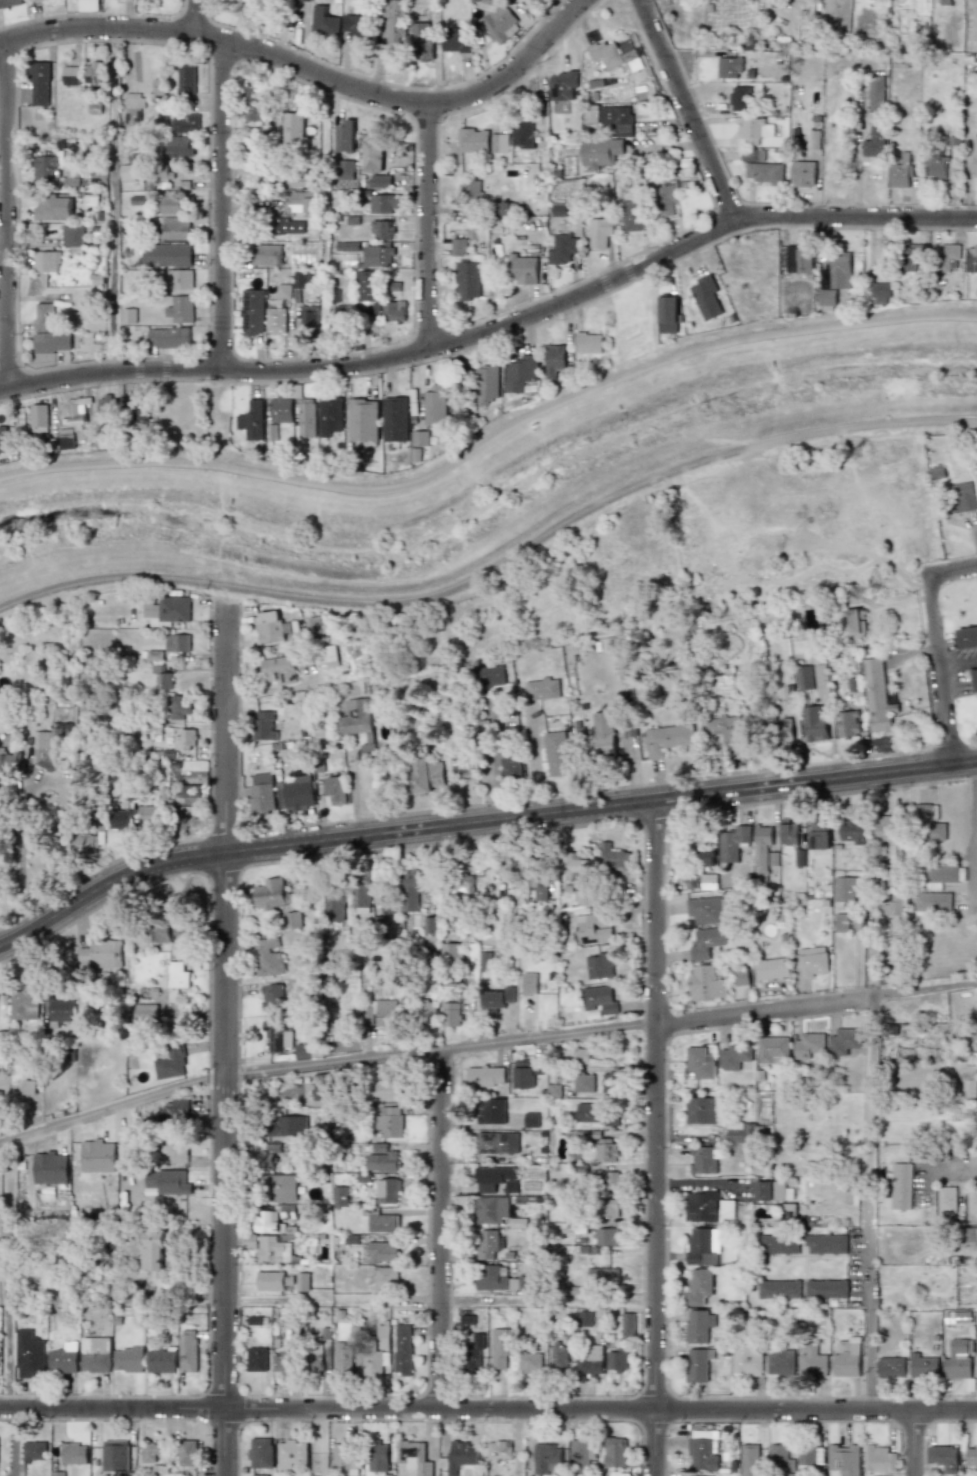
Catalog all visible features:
building: (29, 0)
building: (304, 0)
building: (9, 3)
road: (544, 6)
building: (323, 21)
building: (394, 23)
building: (498, 23)
building: (355, 27)
building: (455, 39)
building: (422, 42)
building: (613, 53)
road: (308, 55)
building: (729, 68)
building: (92, 73)
building: (71, 76)
building: (186, 80)
building: (39, 83)
building: (562, 86)
building: (875, 92)
building: (739, 98)
building: (253, 104)
road: (684, 112)
building: (133, 113)
building: (618, 119)
building: (185, 123)
building: (294, 129)
building: (754, 130)
building: (522, 133)
building: (345, 137)
building: (473, 140)
building: (874, 142)
building: (499, 143)
building: (179, 146)
building: (601, 152)
building: (752, 154)
building: (372, 155)
building: (974, 157)
building: (936, 166)
building: (46, 169)
building: (345, 170)
building: (765, 172)
building: (899, 173)
building: (803, 174)
building: (379, 180)
road: (545, 180)
building: (71, 182)
building: (301, 182)
road: (223, 183)
building: (471, 190)
road: (114, 198)
building: (664, 200)
building: (301, 201)
building: (174, 203)
building: (383, 203)
building: (54, 208)
road: (11, 214)
road: (327, 214)
building: (559, 214)
building: (632, 216)
road: (432, 221)
building: (287, 227)
building: (176, 228)
building: (382, 230)
building: (600, 232)
building: (73, 238)
building: (347, 246)
building: (458, 247)
building: (562, 249)
building: (378, 254)
building: (166, 255)
building: (267, 255)
building: (912, 256)
building: (947, 257)
building: (342, 259)
building: (971, 259)
building: (798, 263)
building: (522, 270)
building: (839, 270)
building: (183, 279)
building: (302, 280)
building: (468, 281)
building: (366, 286)
building: (283, 290)
building: (880, 293)
building: (705, 297)
building: (832, 297)
building: (181, 309)
building: (668, 310)
building: (252, 312)
building: (394, 312)
building: (128, 315)
building: (308, 315)
building: (44, 316)
building: (275, 320)
road: (497, 330)
building: (169, 337)
building: (52, 343)
building: (588, 343)
building: (554, 360)
building: (520, 373)
building: (487, 384)
building: (105, 408)
building: (76, 411)
building: (138, 415)
building: (279, 415)
building: (329, 416)
building: (306, 418)
building: (38, 419)
building: (395, 420)
building: (431, 420)
building: (251, 421)
building: (363, 421)
road: (490, 436)
building: (65, 438)
building: (2, 440)
power tower: (862, 455)
building: (964, 497)
road: (497, 565)
road: (951, 568)
building: (166, 610)
building: (854, 623)
building: (318, 625)
building: (272, 627)
building: (967, 637)
building: (177, 642)
building: (327, 655)
road: (937, 669)
building: (278, 670)
building: (489, 676)
building: (804, 678)
building: (975, 678)
building: (163, 680)
building: (542, 689)
building: (877, 697)
building: (178, 706)
building: (358, 723)
building: (814, 723)
building: (847, 724)
building: (264, 726)
building: (783, 730)
building: (728, 733)
building: (604, 735)
building: (185, 739)
building: (667, 739)
building: (41, 740)
building: (52, 750)
building: (556, 754)
road: (493, 761)
building: (9, 762)
building: (511, 769)
building: (425, 775)
building: (334, 789)
building: (190, 791)
building: (261, 792)
building: (295, 793)
building: (148, 814)
road: (477, 816)
building: (119, 820)
building: (930, 822)
building: (886, 828)
building: (852, 829)
building: (788, 834)
building: (819, 835)
building: (87, 838)
road: (973, 838)
building: (733, 843)
building: (763, 853)
building: (613, 858)
building: (572, 866)
building: (940, 873)
building: (538, 882)
building: (462, 883)
building: (361, 889)
building: (414, 889)
building: (846, 889)
building: (273, 894)
building: (932, 903)
building: (894, 906)
building: (334, 907)
building: (705, 910)
building: (293, 920)
building: (841, 923)
building: (431, 925)
building: (593, 928)
building: (164, 931)
building: (706, 942)
building: (452, 953)
building: (101, 954)
building: (269, 957)
building: (484, 961)
building: (813, 961)
road: (870, 961)
building: (599, 966)
building: (772, 968)
building: (742, 976)
building: (176, 979)
building: (529, 983)
building: (704, 984)
building: (272, 997)
building: (498, 998)
building: (599, 999)
building: (23, 1001)
building: (60, 1011)
building: (379, 1013)
building: (450, 1014)
road: (225, 1029)
building: (277, 1036)
building: (844, 1041)
building: (808, 1044)
road: (484, 1046)
building: (772, 1050)
building: (306, 1051)
building: (734, 1054)
building: (575, 1056)
building: (699, 1062)
building: (170, 1063)
building: (526, 1072)
building: (485, 1076)
building: (583, 1082)
building: (611, 1084)
building: (387, 1085)
building: (322, 1086)
building: (29, 1087)
building: (553, 1090)
building: (177, 1110)
building: (701, 1110)
building: (491, 1111)
building: (595, 1114)
building: (531, 1119)
building: (389, 1121)
building: (286, 1126)
building: (741, 1132)
road: (658, 1136)
building: (497, 1142)
building: (606, 1149)
building: (97, 1156)
building: (265, 1159)
building: (381, 1159)
building: (703, 1160)
building: (49, 1168)
road: (952, 1171)
building: (495, 1179)
building: (611, 1180)
building: (168, 1182)
building: (901, 1186)
building: (281, 1188)
building: (388, 1190)
building: (769, 1190)
building: (339, 1196)
building: (946, 1200)
building: (971, 1200)
road: (874, 1205)
building: (708, 1207)
building: (609, 1208)
building: (492, 1209)
building: (287, 1211)
building: (787, 1213)
building: (266, 1221)
building: (517, 1222)
building: (383, 1223)
road: (443, 1230)
building: (606, 1236)
building: (488, 1243)
building: (779, 1244)
building: (827, 1244)
building: (703, 1246)
building: (268, 1248)
building: (153, 1250)
building: (382, 1252)
road: (10, 1276)
building: (386, 1277)
building: (602, 1277)
building: (500, 1279)
building: (270, 1281)
building: (302, 1281)
building: (699, 1286)
building: (779, 1289)
building: (826, 1289)
road: (442, 1302)
building: (957, 1317)
building: (585, 1319)
building: (627, 1325)
building: (699, 1326)
building: (381, 1337)
building: (500, 1347)
building: (402, 1350)
building: (187, 1352)
building: (29, 1354)
building: (95, 1354)
building: (472, 1354)
building: (342, 1358)
building: (559, 1358)
building: (847, 1358)
building: (128, 1359)
building: (257, 1359)
building: (747, 1359)
building: (958, 1359)
building: (617, 1360)
building: (812, 1360)
building: (62, 1361)
building: (161, 1361)
building: (314, 1361)
building: (591, 1361)
building: (374, 1362)
building: (283, 1363)
building: (529, 1363)
building: (780, 1363)
building: (698, 1364)
building: (891, 1366)
building: (923, 1366)
building: (976, 1369)
road: (488, 1411)
road: (913, 1444)
building: (499, 1449)
building: (701, 1450)
building: (34, 1451)
building: (149, 1452)
building: (615, 1452)
building: (74, 1453)
building: (187, 1453)
building: (261, 1453)
building: (291, 1453)
building: (461, 1455)
building: (115, 1456)
building: (579, 1456)
building: (807, 1456)
building: (971, 1456)
building: (378, 1457)
building: (413, 1457)
building: (344, 1458)
building: (546, 1458)
building: (944, 1458)
building: (780, 1459)
building: (844, 1459)
building: (879, 1459)
building: (749, 1460)
building: (57, 1473)
building: (790, 1474)
building: (260, 1475)

